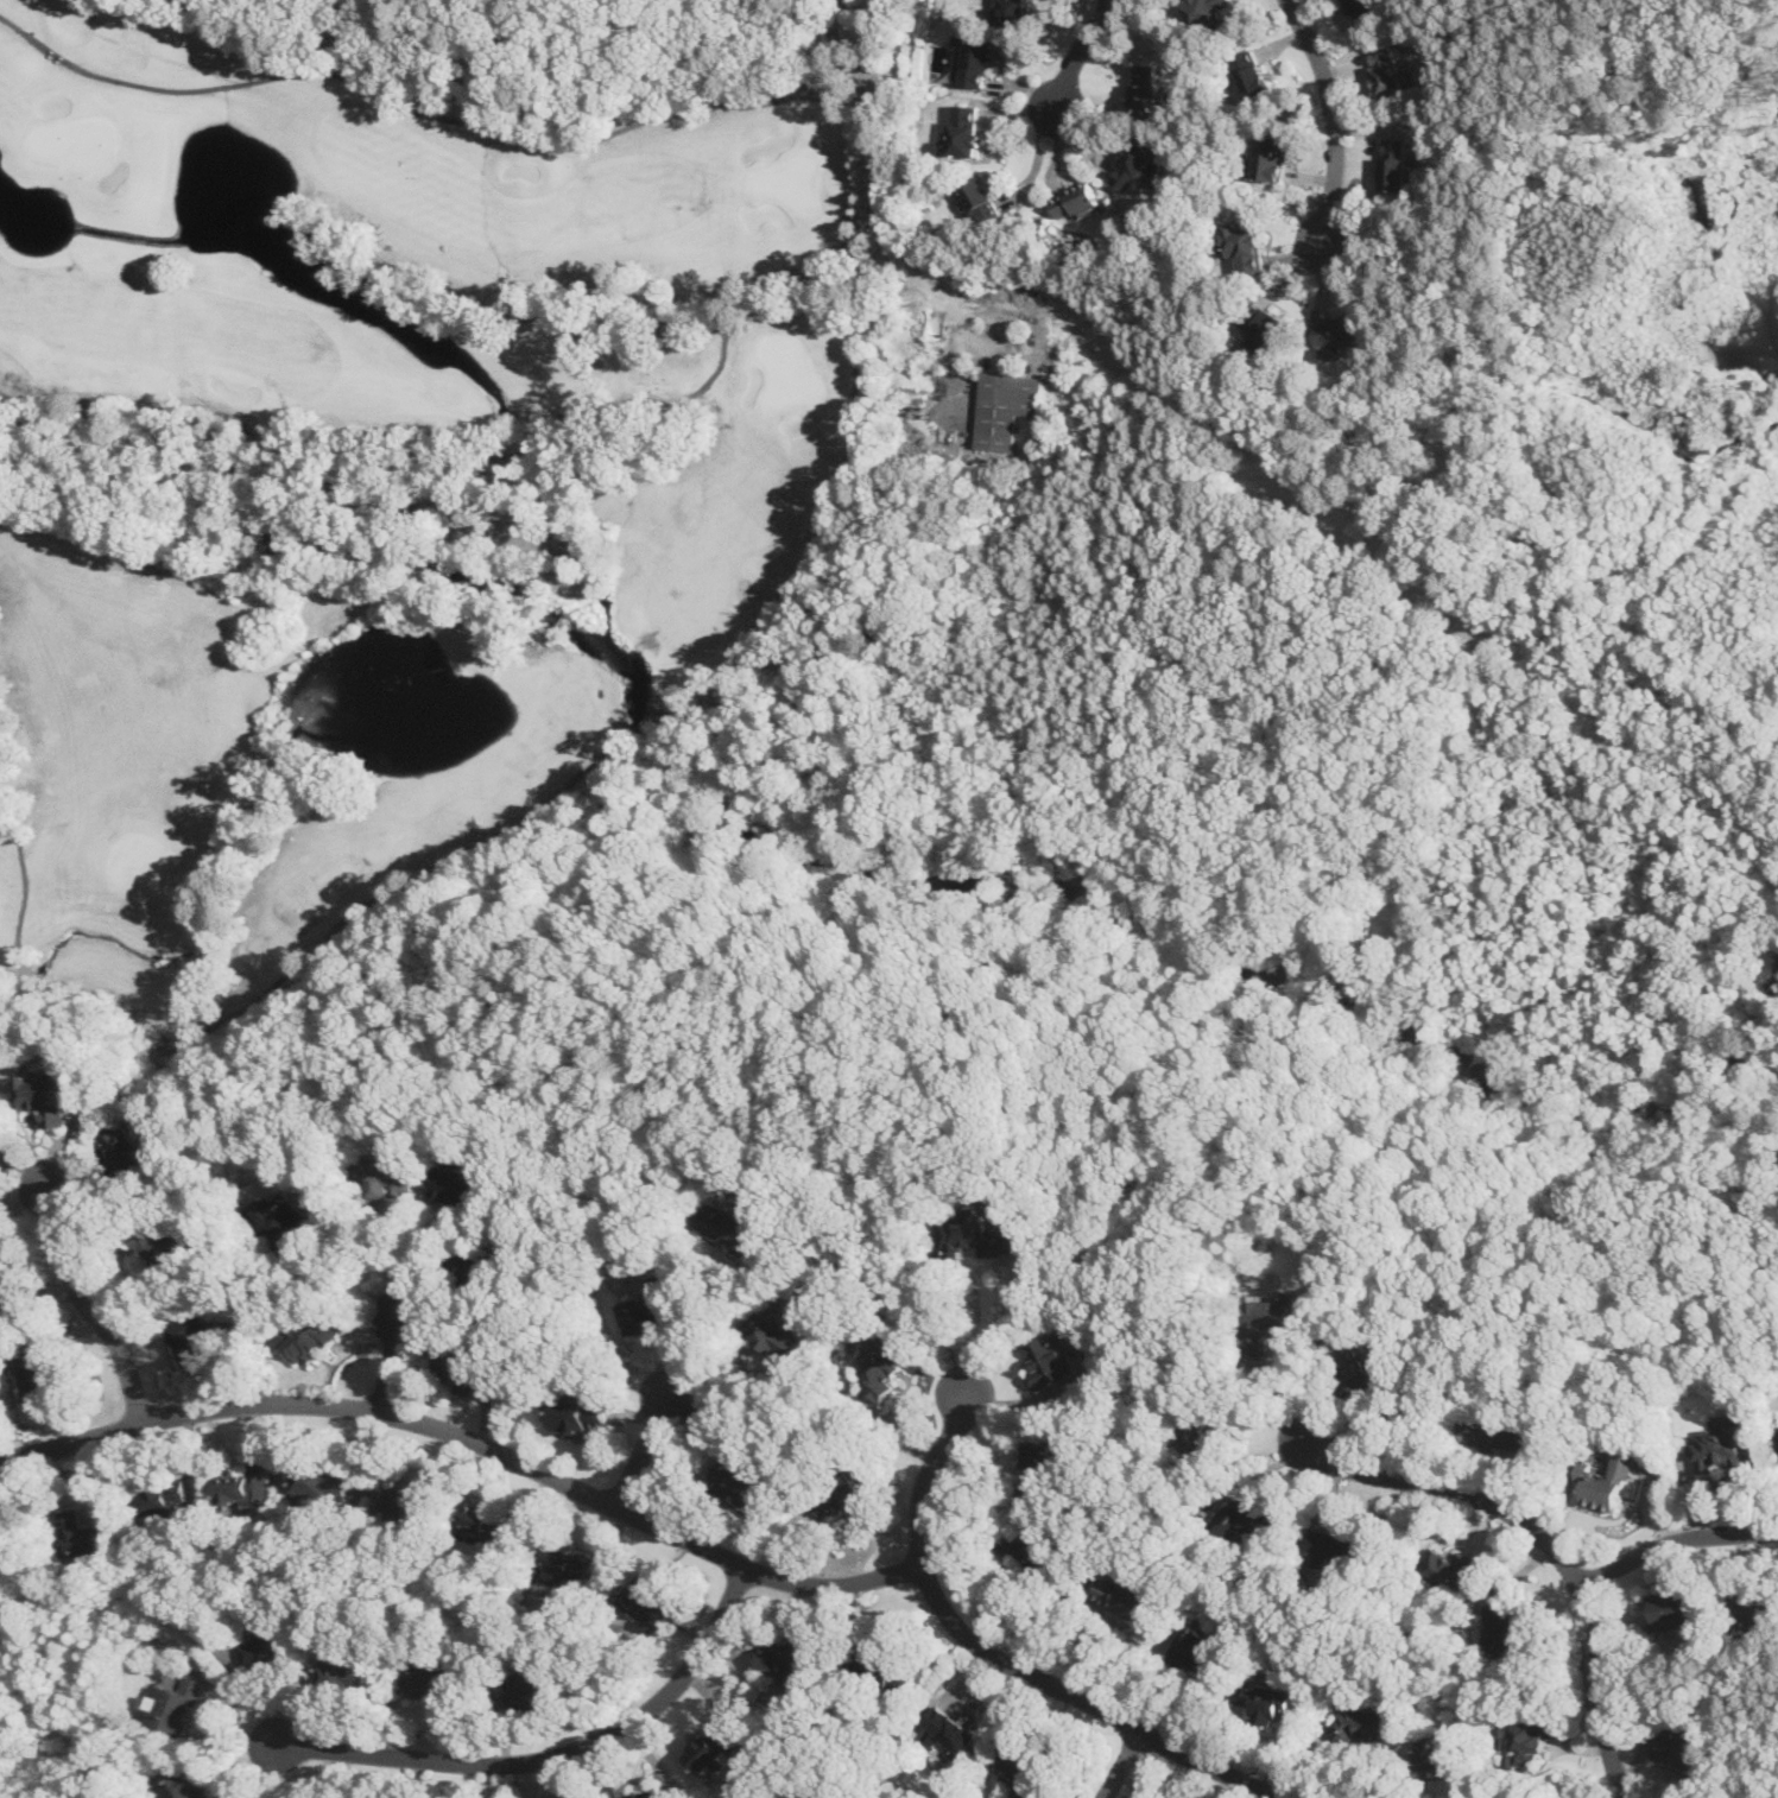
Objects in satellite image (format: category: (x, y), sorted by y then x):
building: (1363, 8)
building: (1208, 10)
building: (1014, 13)
road: (793, 17)
road: (1078, 55)
building: (973, 58)
building: (1386, 71)
building: (1252, 72)
building: (1145, 88)
road: (1335, 119)
building: (964, 128)
building: (1271, 157)
building: (1394, 163)
building: (1134, 165)
road: (872, 198)
building: (1074, 198)
building: (981, 200)
building: (1242, 242)
building: (1264, 322)
building: (1341, 331)
building: (1005, 407)
park: (392, 449)
river: (992, 882)
road: (410, 957)
road: (1184, 963)
road: (804, 977)
road: (173, 1050)
road: (818, 1058)
park: (1056, 1062)
building: (50, 1095)
road: (690, 1114)
road: (1697, 1115)
road: (1551, 1133)
building: (126, 1145)
road: (1194, 1170)
building: (394, 1173)
building: (460, 1184)
building: (283, 1218)
building: (734, 1223)
building: (975, 1233)
building: (165, 1248)
building: (479, 1264)
road: (349, 1277)
building: (1, 1289)
road: (91, 1305)
building: (652, 1306)
road: (708, 1310)
building: (1272, 1316)
road: (996, 1327)
building: (196, 1332)
building: (774, 1332)
building: (309, 1335)
road: (393, 1357)
building: (1051, 1360)
building: (461, 1367)
building: (884, 1367)
building: (1360, 1372)
building: (40, 1374)
road: (744, 1375)
building: (582, 1413)
building: (1777, 1427)
building: (1201, 1430)
building: (1498, 1431)
road: (470, 1441)
road: (646, 1444)
building: (1720, 1446)
road: (1246, 1463)
building: (1039, 1464)
building: (741, 1475)
road: (1252, 1476)
building: (1605, 1481)
building: (323, 1482)
building: (248, 1483)
building: (846, 1492)
building: (167, 1500)
building: (415, 1503)
building: (1246, 1517)
building: (487, 1521)
building: (83, 1536)
road: (1672, 1539)
road: (1550, 1543)
building: (1335, 1546)
building: (1031, 1547)
building: (570, 1563)
building: (1445, 1569)
building: (1122, 1594)
building: (651, 1602)
building: (1670, 1609)
building: (1751, 1613)
building: (1505, 1626)
road: (1074, 1633)
building: (271, 1647)
building: (1196, 1650)
road: (1005, 1655)
building: (787, 1660)
building: (881, 1671)
building: (346, 1674)
building: (437, 1685)
road: (1171, 1686)
building: (536, 1688)
building: (1263, 1699)
building: (177, 1704)
building: (1359, 1722)
building: (948, 1734)
building: (1527, 1739)
building: (1683, 1743)
building: (713, 1745)
building: (1437, 1752)
road: (551, 1758)
road: (1120, 1764)
building: (1020, 1768)
road: (1466, 1779)
building: (189, 1780)
building: (646, 1792)

